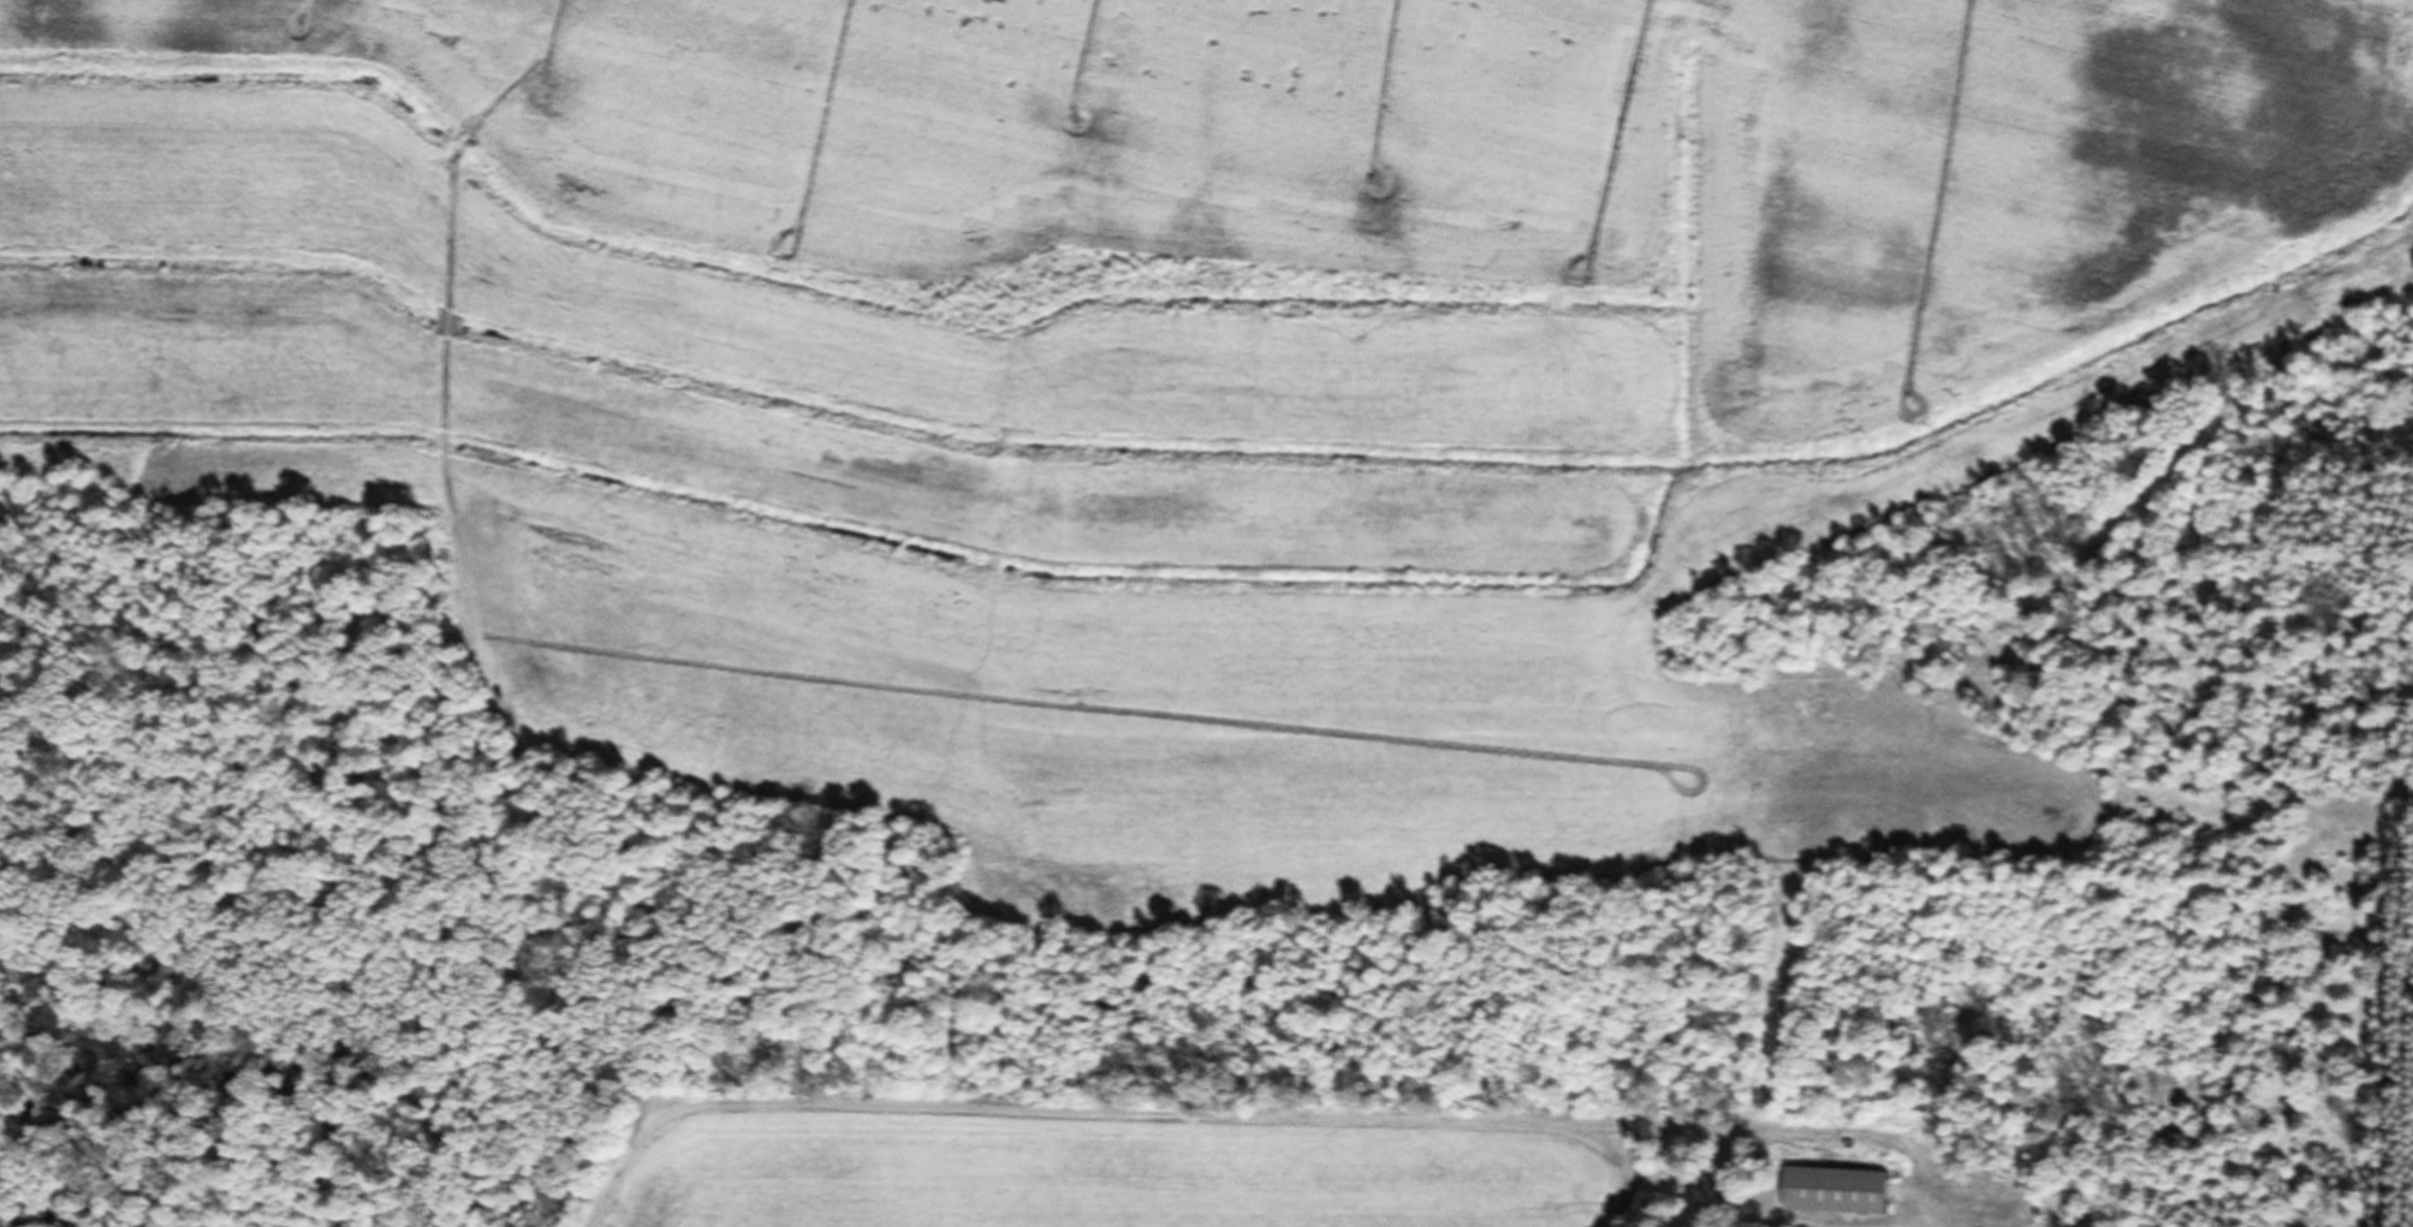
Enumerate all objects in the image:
building: (1835, 1201)

